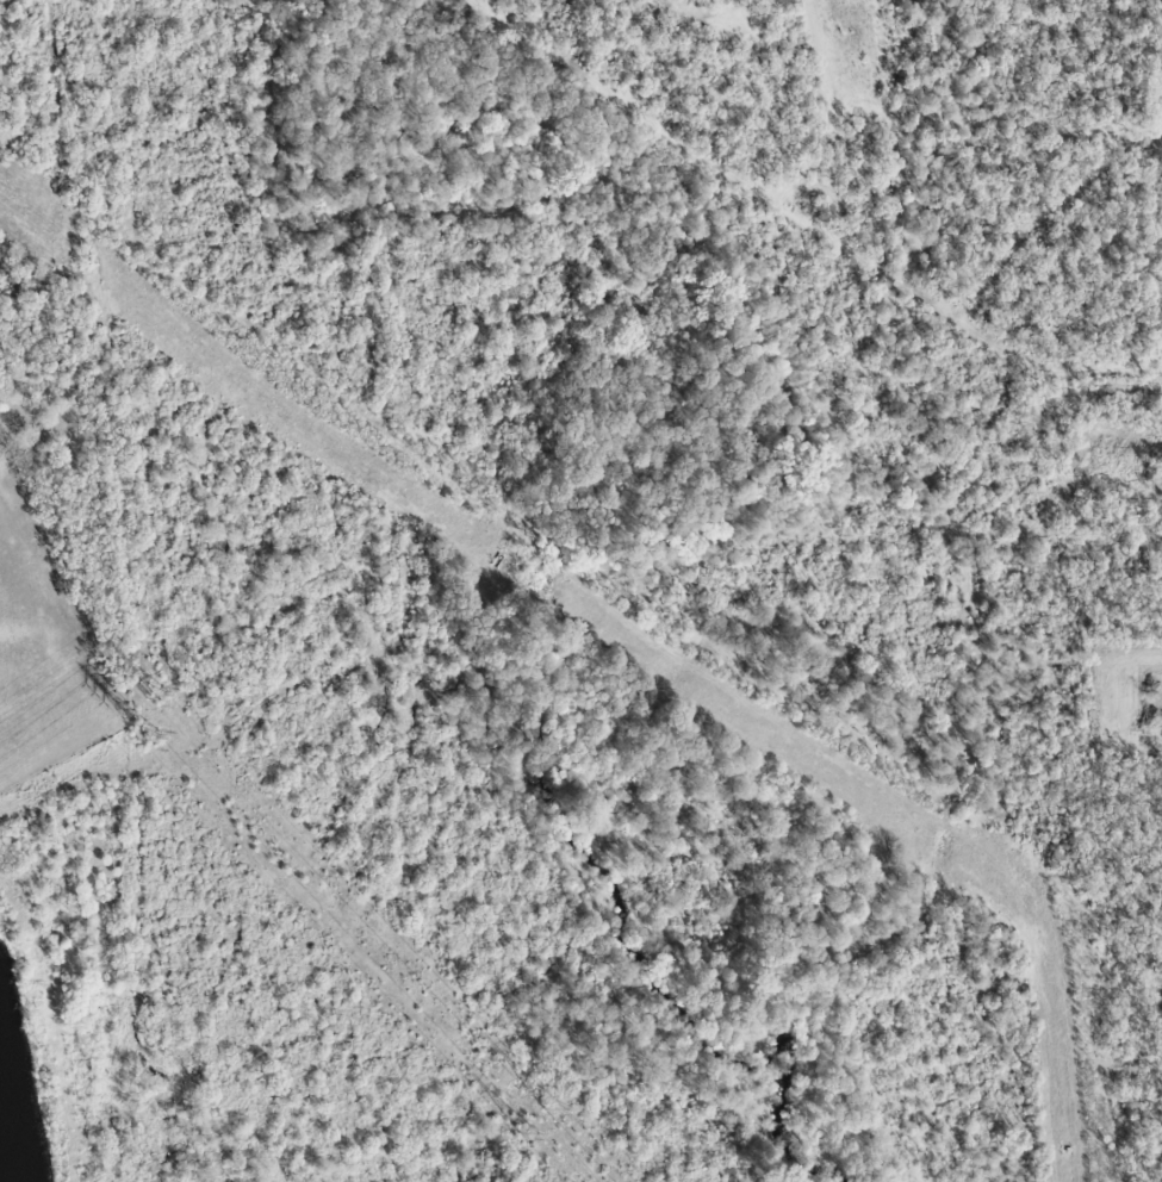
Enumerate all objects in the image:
power tower: (159, 691)
power tower: (147, 736)
power tower: (560, 1109)
power tower: (539, 1137)

